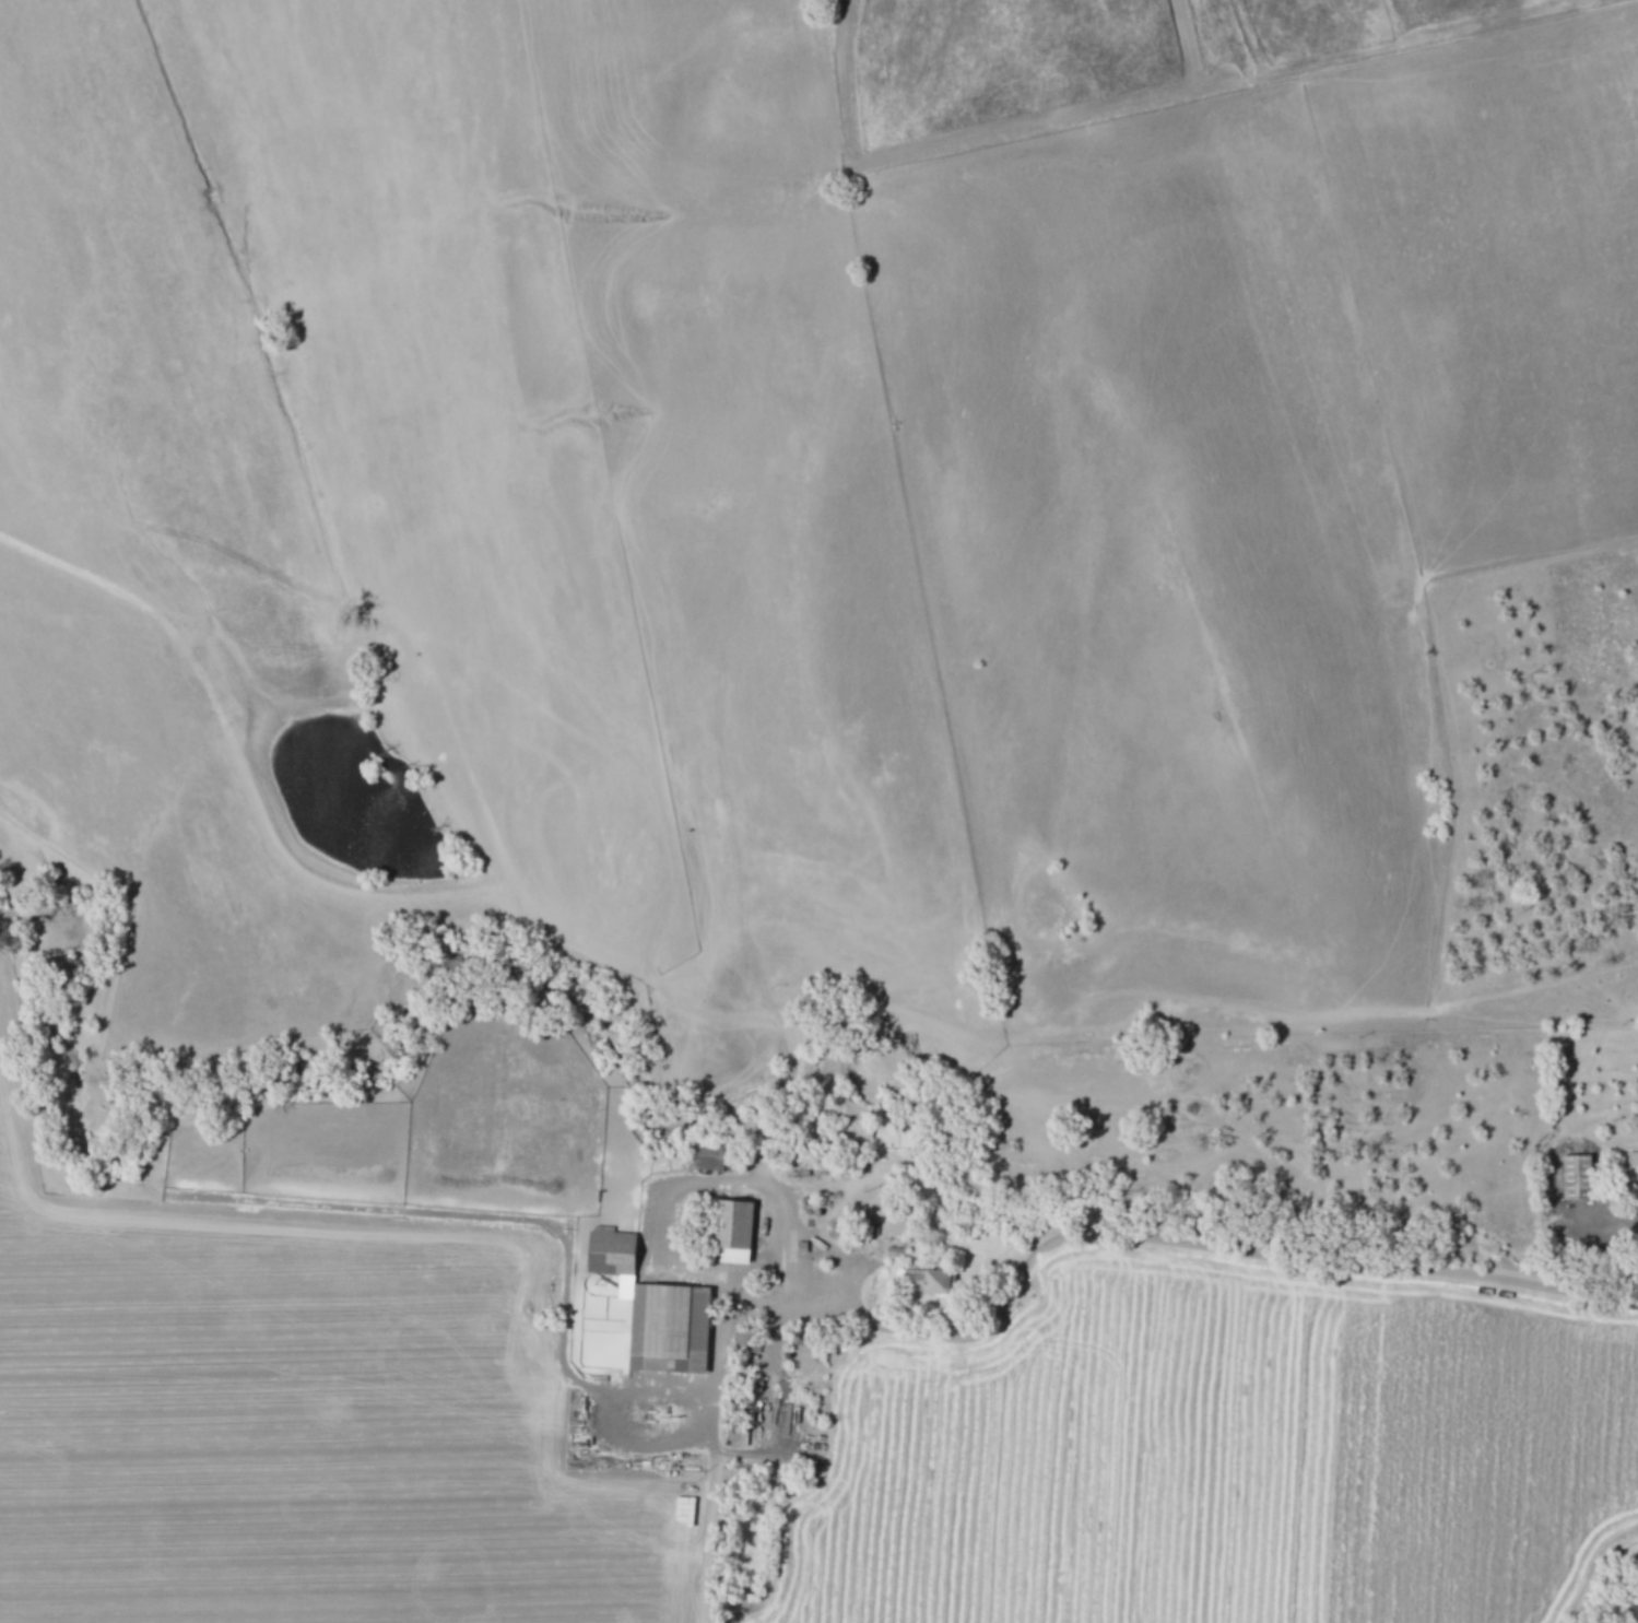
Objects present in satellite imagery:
building: (1633, 1164)
building: (1578, 1175)
building: (736, 1234)
road: (1201, 1239)
building: (600, 1249)
building: (938, 1281)
building: (670, 1327)
building: (739, 1436)

